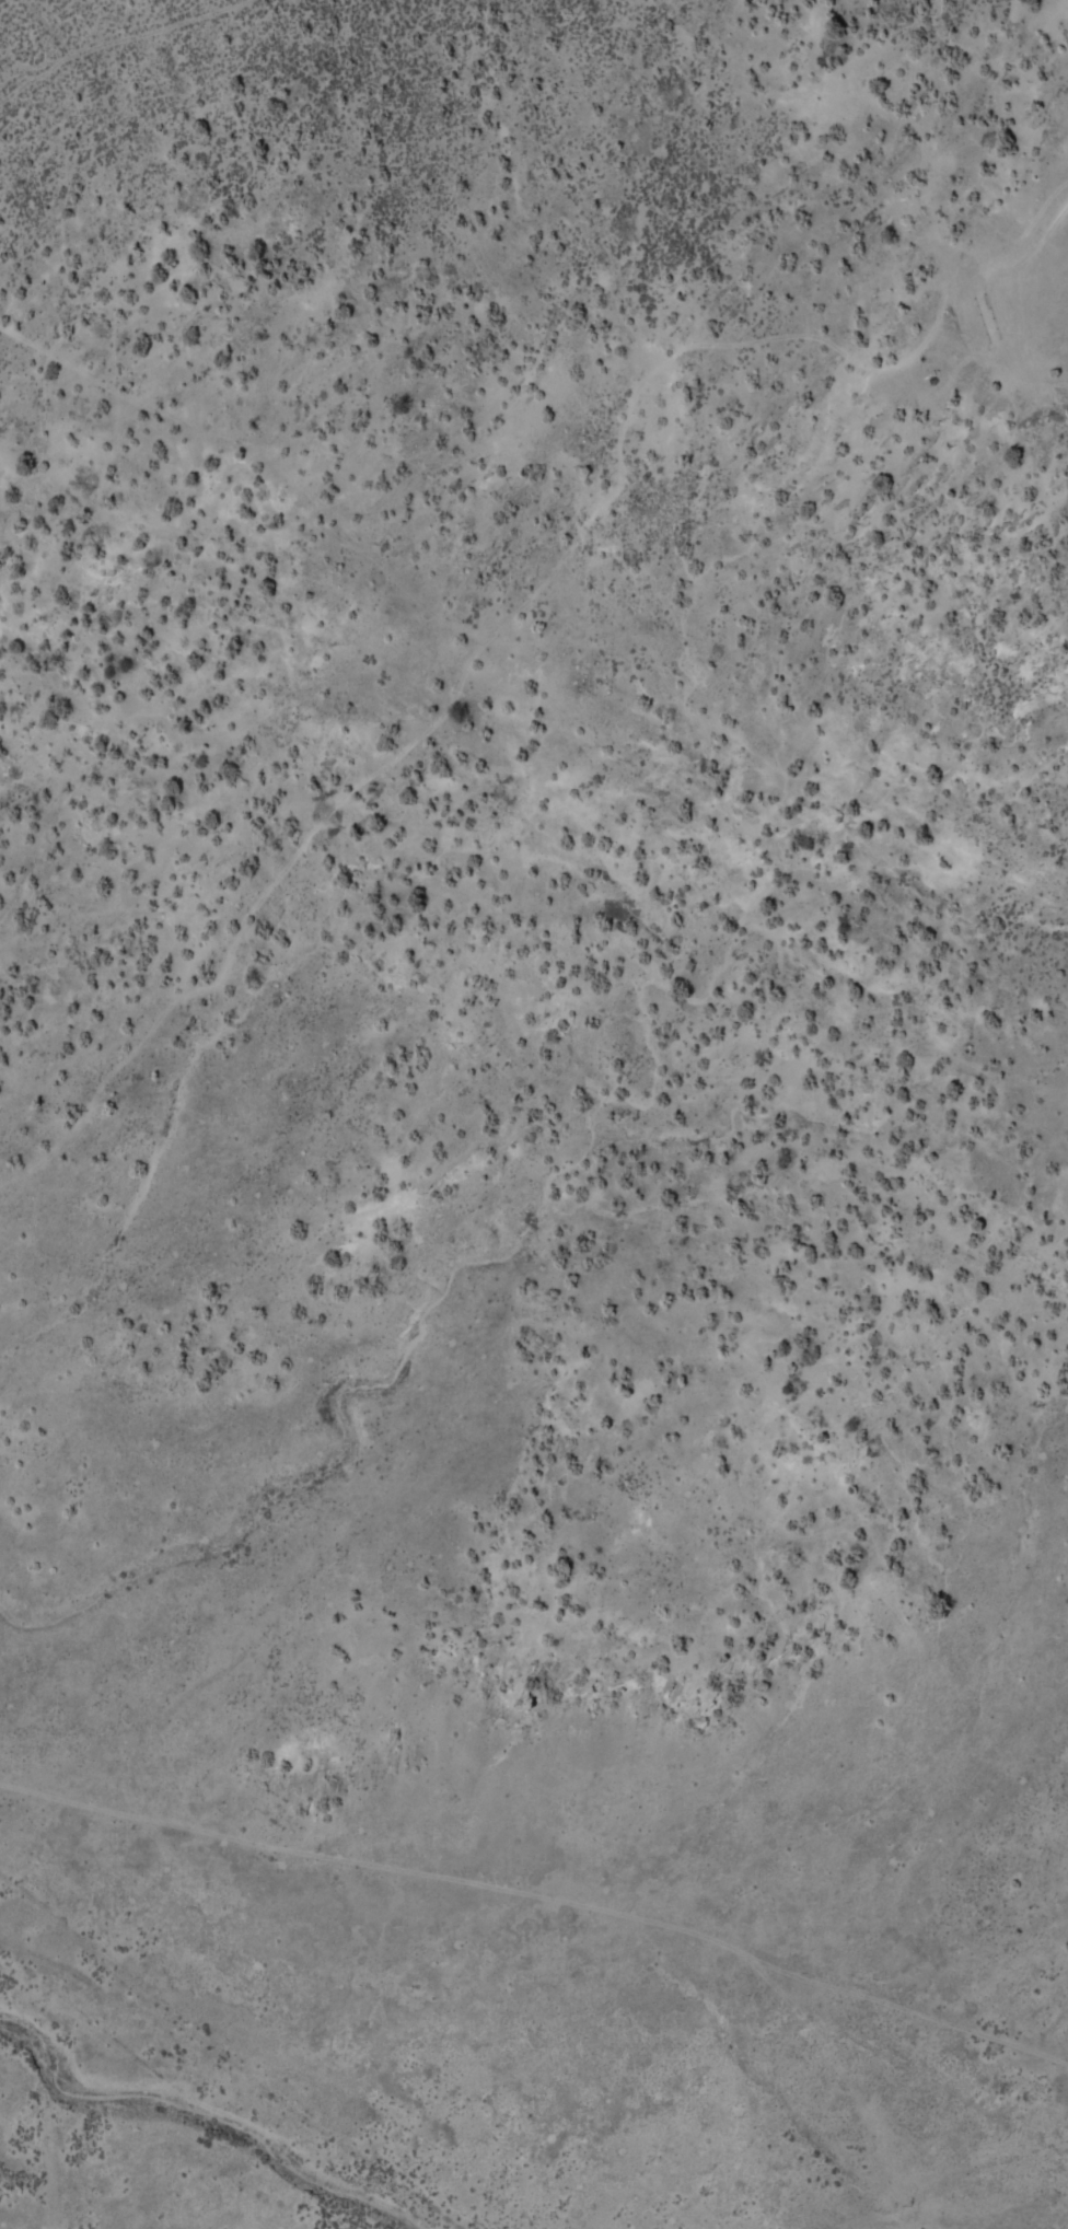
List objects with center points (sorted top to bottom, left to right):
building: (980, 310)
road: (207, 440)
road: (223, 2063)

